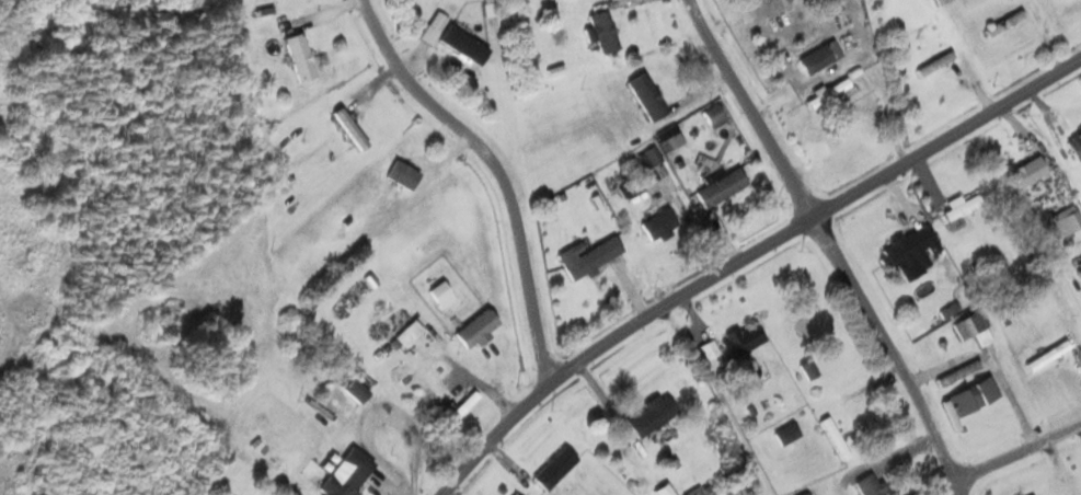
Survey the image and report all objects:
building: (943, 1)
building: (1007, 23)
building: (600, 32)
building: (452, 38)
building: (299, 57)
building: (819, 57)
building: (936, 64)
building: (829, 93)
building: (645, 96)
road: (756, 111)
building: (714, 116)
building: (670, 135)
building: (1074, 146)
building: (649, 158)
road: (504, 168)
building: (1027, 172)
building: (401, 174)
building: (722, 186)
building: (963, 209)
building: (1070, 222)
building: (658, 225)
building: (910, 251)
building: (588, 256)
road: (749, 260)
building: (438, 291)
building: (975, 327)
building: (474, 329)
building: (410, 333)
building: (735, 343)
building: (1048, 356)
road: (896, 358)
building: (809, 369)
building: (354, 391)
building: (973, 395)
building: (461, 407)
building: (652, 415)
building: (786, 434)
building: (836, 438)
road: (1022, 449)
building: (554, 468)
building: (341, 483)
building: (869, 485)

